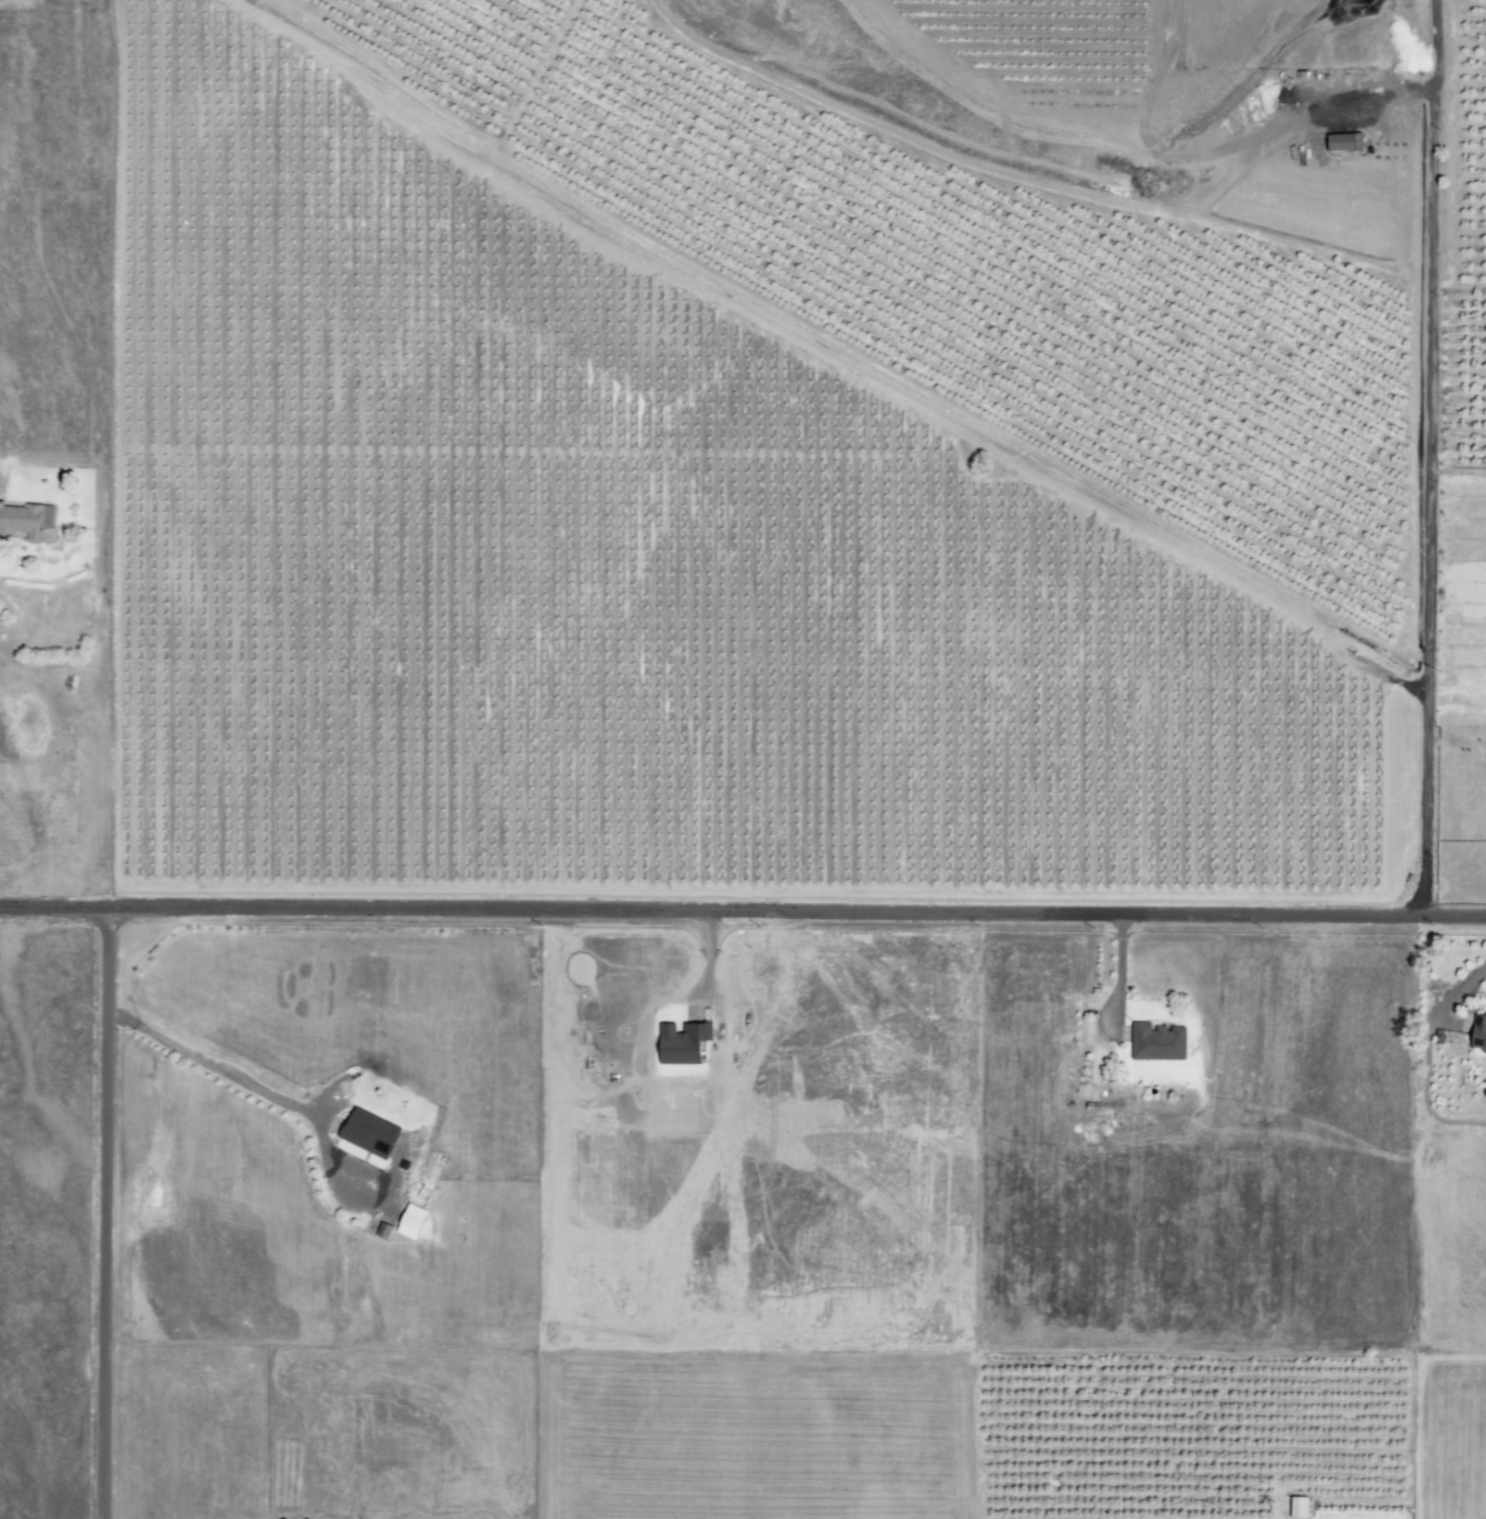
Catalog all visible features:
building: (1339, 141)
road: (1427, 456)
building: (23, 520)
road: (742, 911)
building: (1476, 1033)
building: (1153, 1041)
building: (683, 1042)
road: (251, 1087)
building: (370, 1132)
road: (102, 1214)
building: (1295, 1506)

